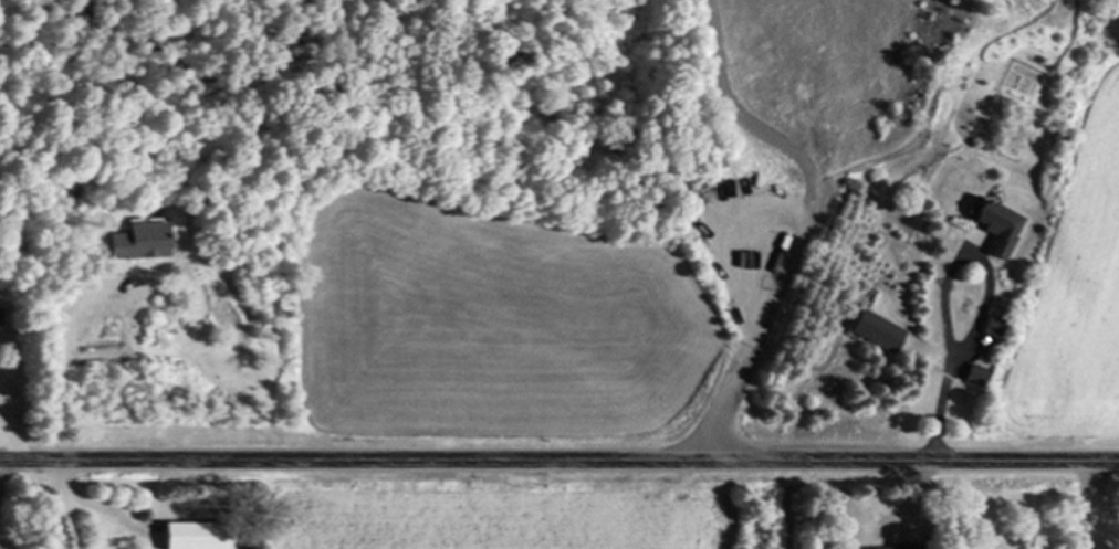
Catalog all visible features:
building: (997, 229)
building: (0, 312)
building: (994, 328)
building: (975, 376)
road: (19, 415)
road: (558, 464)
road: (65, 505)
building: (196, 536)
building: (887, 547)

